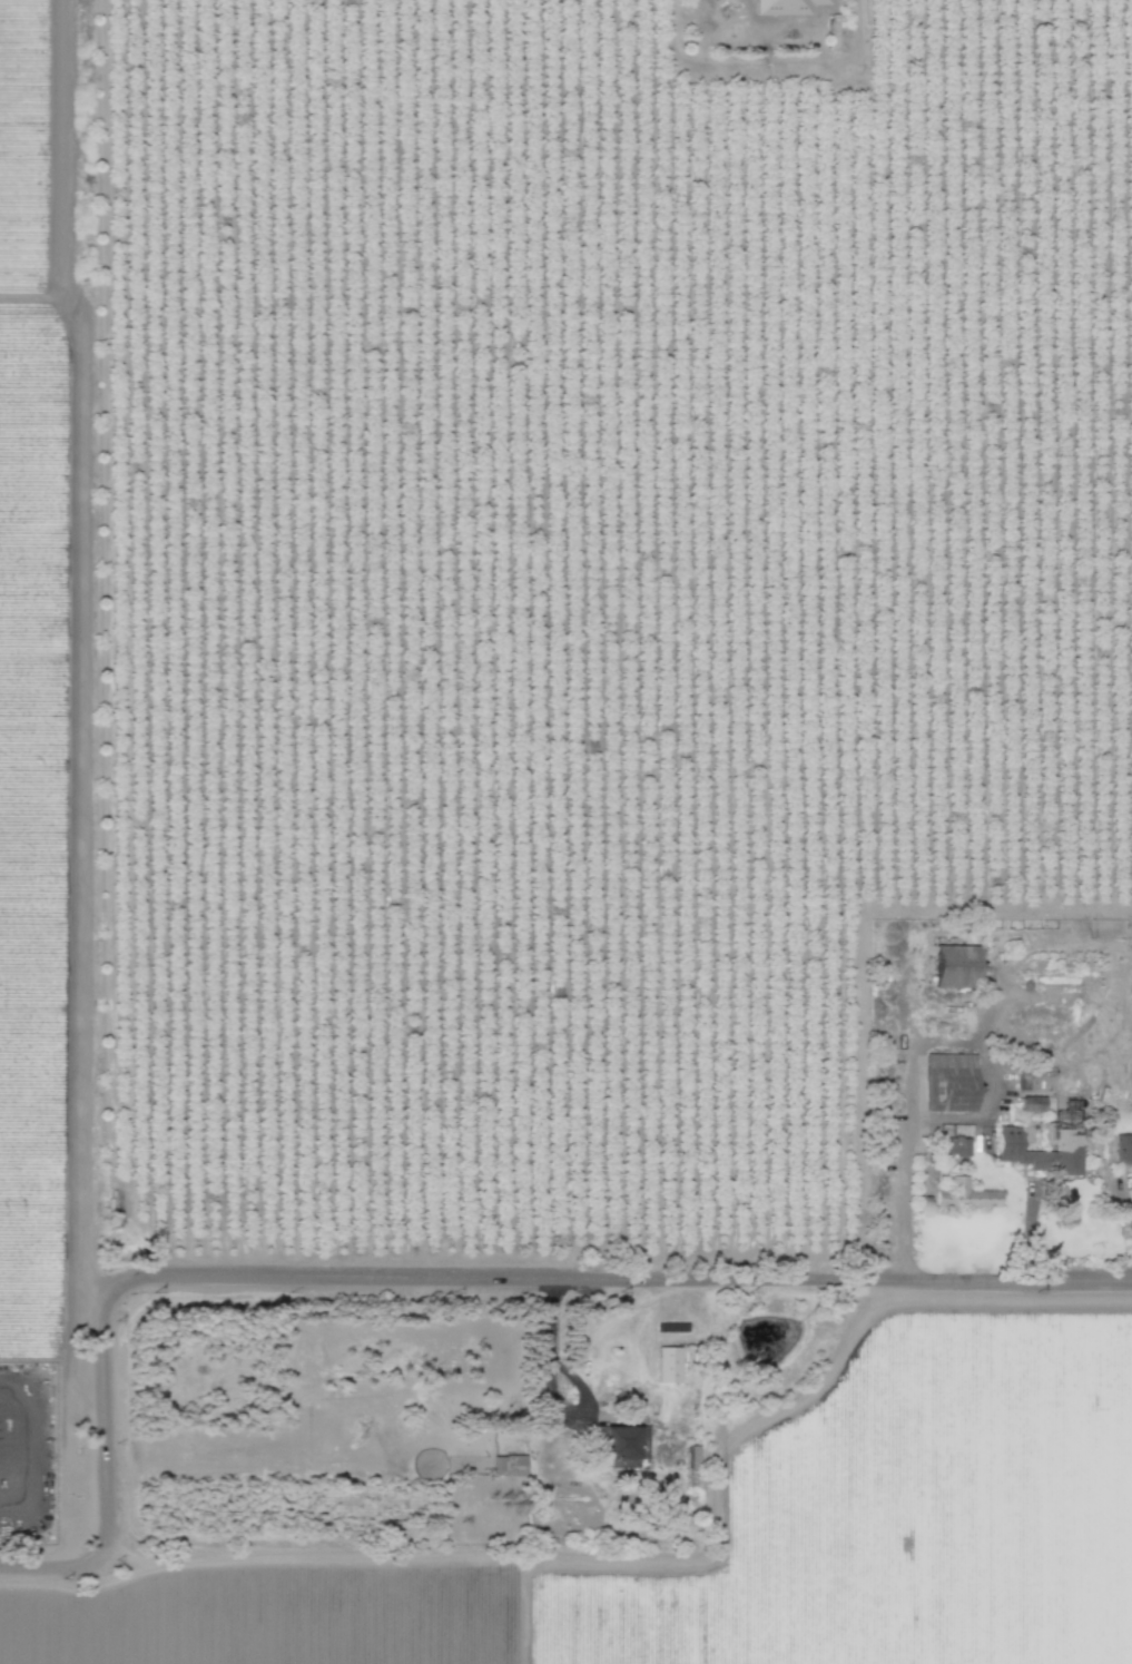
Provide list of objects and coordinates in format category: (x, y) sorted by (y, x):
building: (772, 7)
building: (957, 966)
building: (949, 1081)
building: (1023, 1082)
building: (1070, 1143)
road: (908, 1145)
building: (955, 1146)
building: (1123, 1149)
road: (1119, 1191)
building: (966, 1195)
road: (431, 1278)
building: (669, 1366)
road: (552, 1381)
building: (624, 1447)
building: (693, 1457)
building: (510, 1466)

